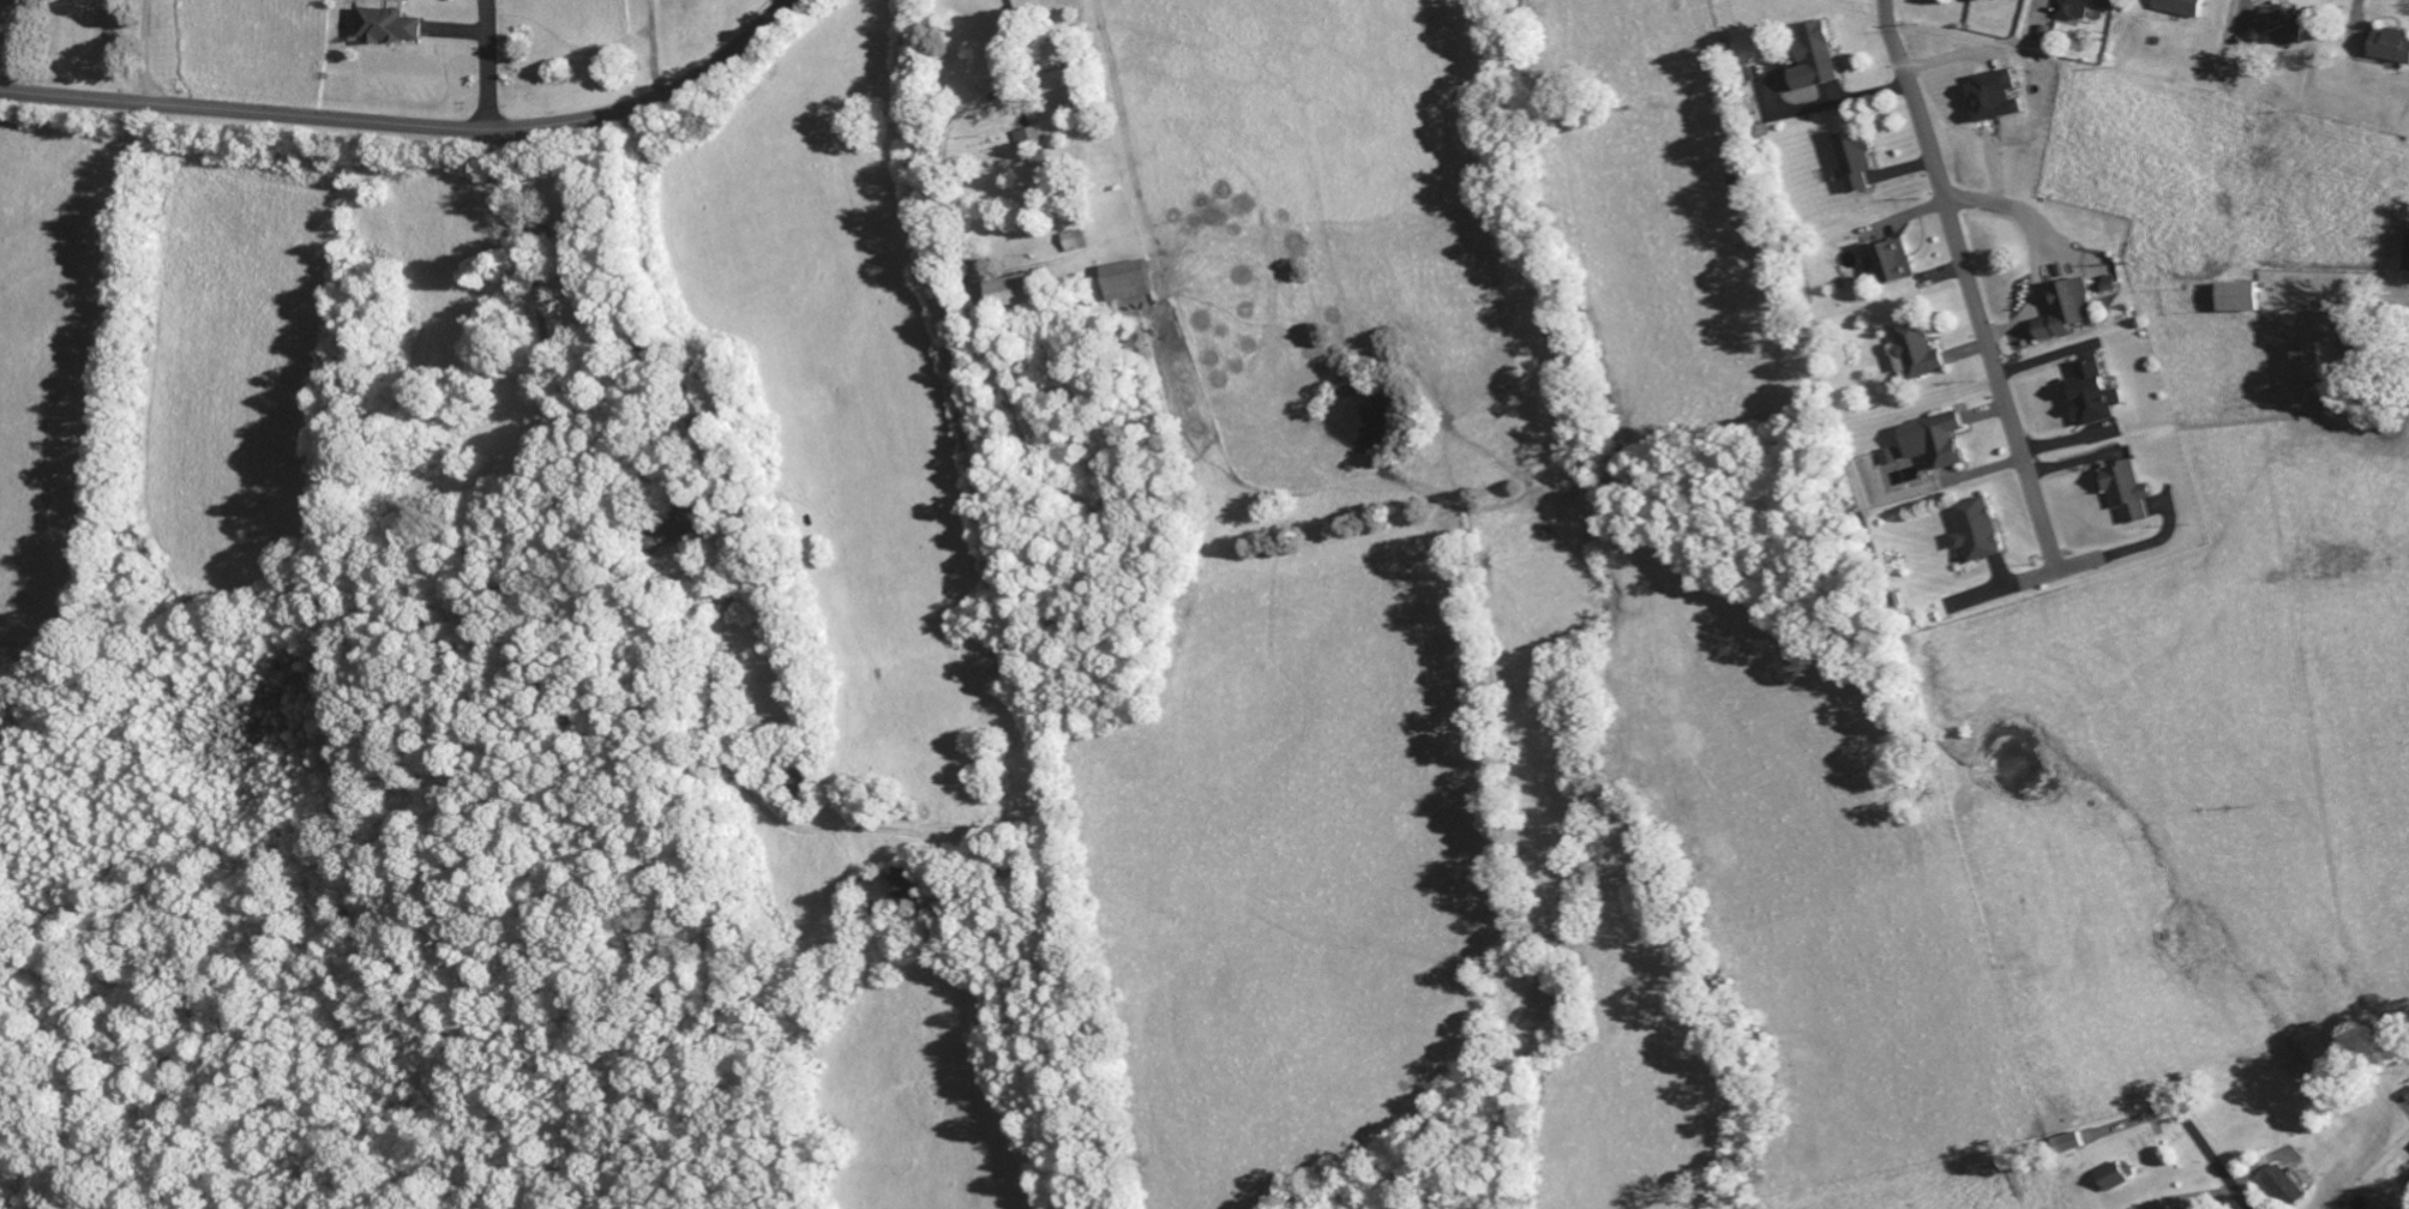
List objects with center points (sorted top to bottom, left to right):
building: (1978, 1)
building: (2179, 8)
building: (2083, 10)
building: (2282, 26)
building: (388, 29)
building: (2390, 49)
building: (1813, 62)
road: (486, 64)
building: (1059, 90)
building: (1993, 100)
road: (410, 124)
building: (1025, 140)
building: (1852, 162)
building: (1076, 245)
building: (1892, 265)
building: (1130, 283)
road: (1965, 288)
building: (2109, 289)
building: (1016, 294)
building: (2239, 300)
building: (2066, 314)
building: (1916, 355)
building: (2306, 365)
building: (2091, 397)
building: (1935, 444)
building: (1887, 461)
building: (2125, 495)
building: (1975, 534)
building: (894, 890)
road: (2222, 1168)
building: (2114, 1180)
building: (2284, 1190)

